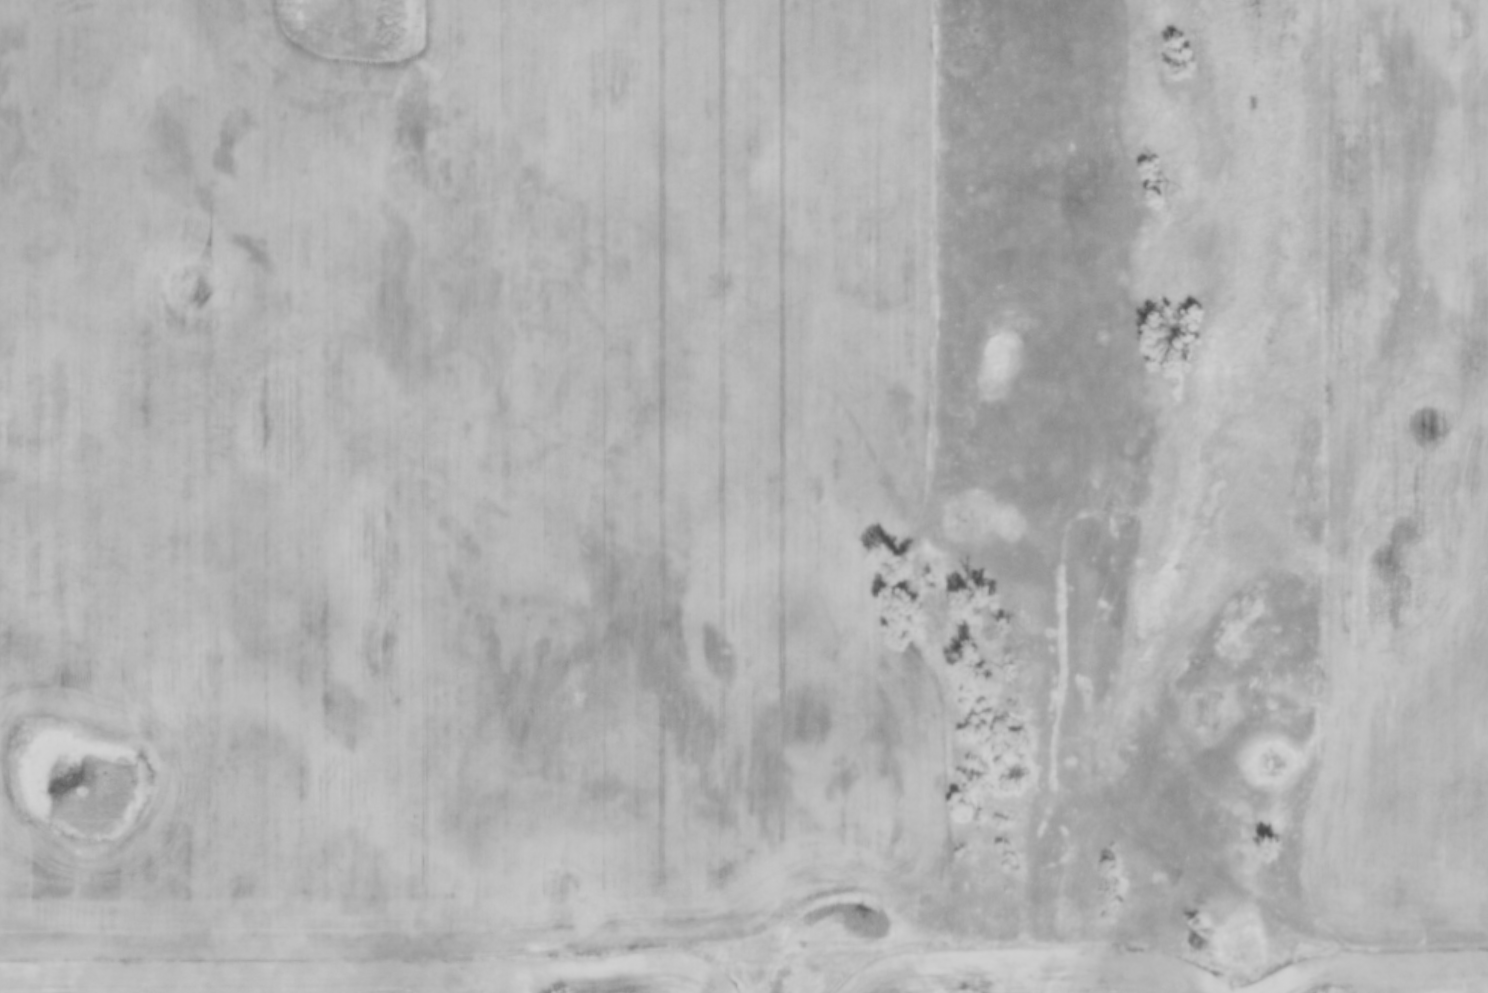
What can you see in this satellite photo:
road: (1318, 932)

